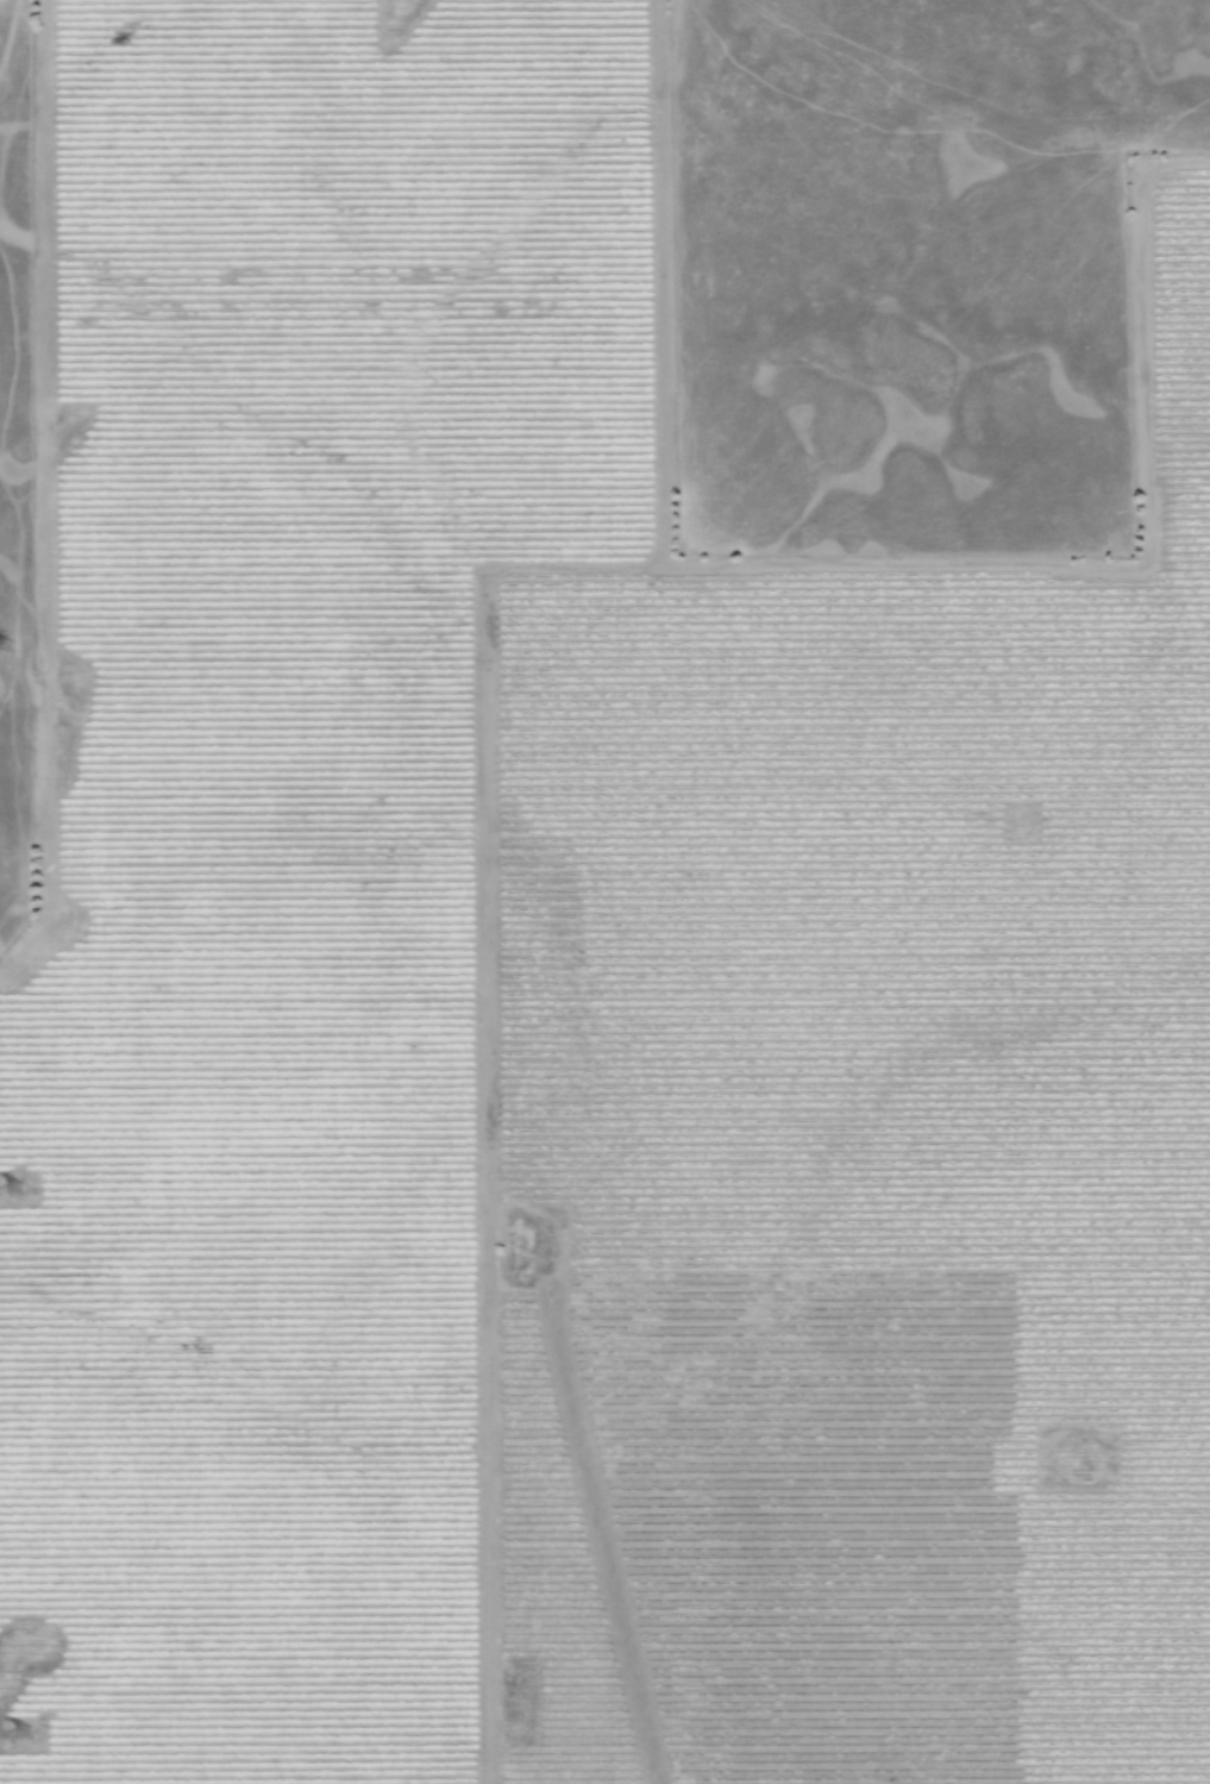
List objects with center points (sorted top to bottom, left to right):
power tower: (14, 649)
crop: (573, 989)
power tower: (21, 1193)
power tower: (30, 1735)

